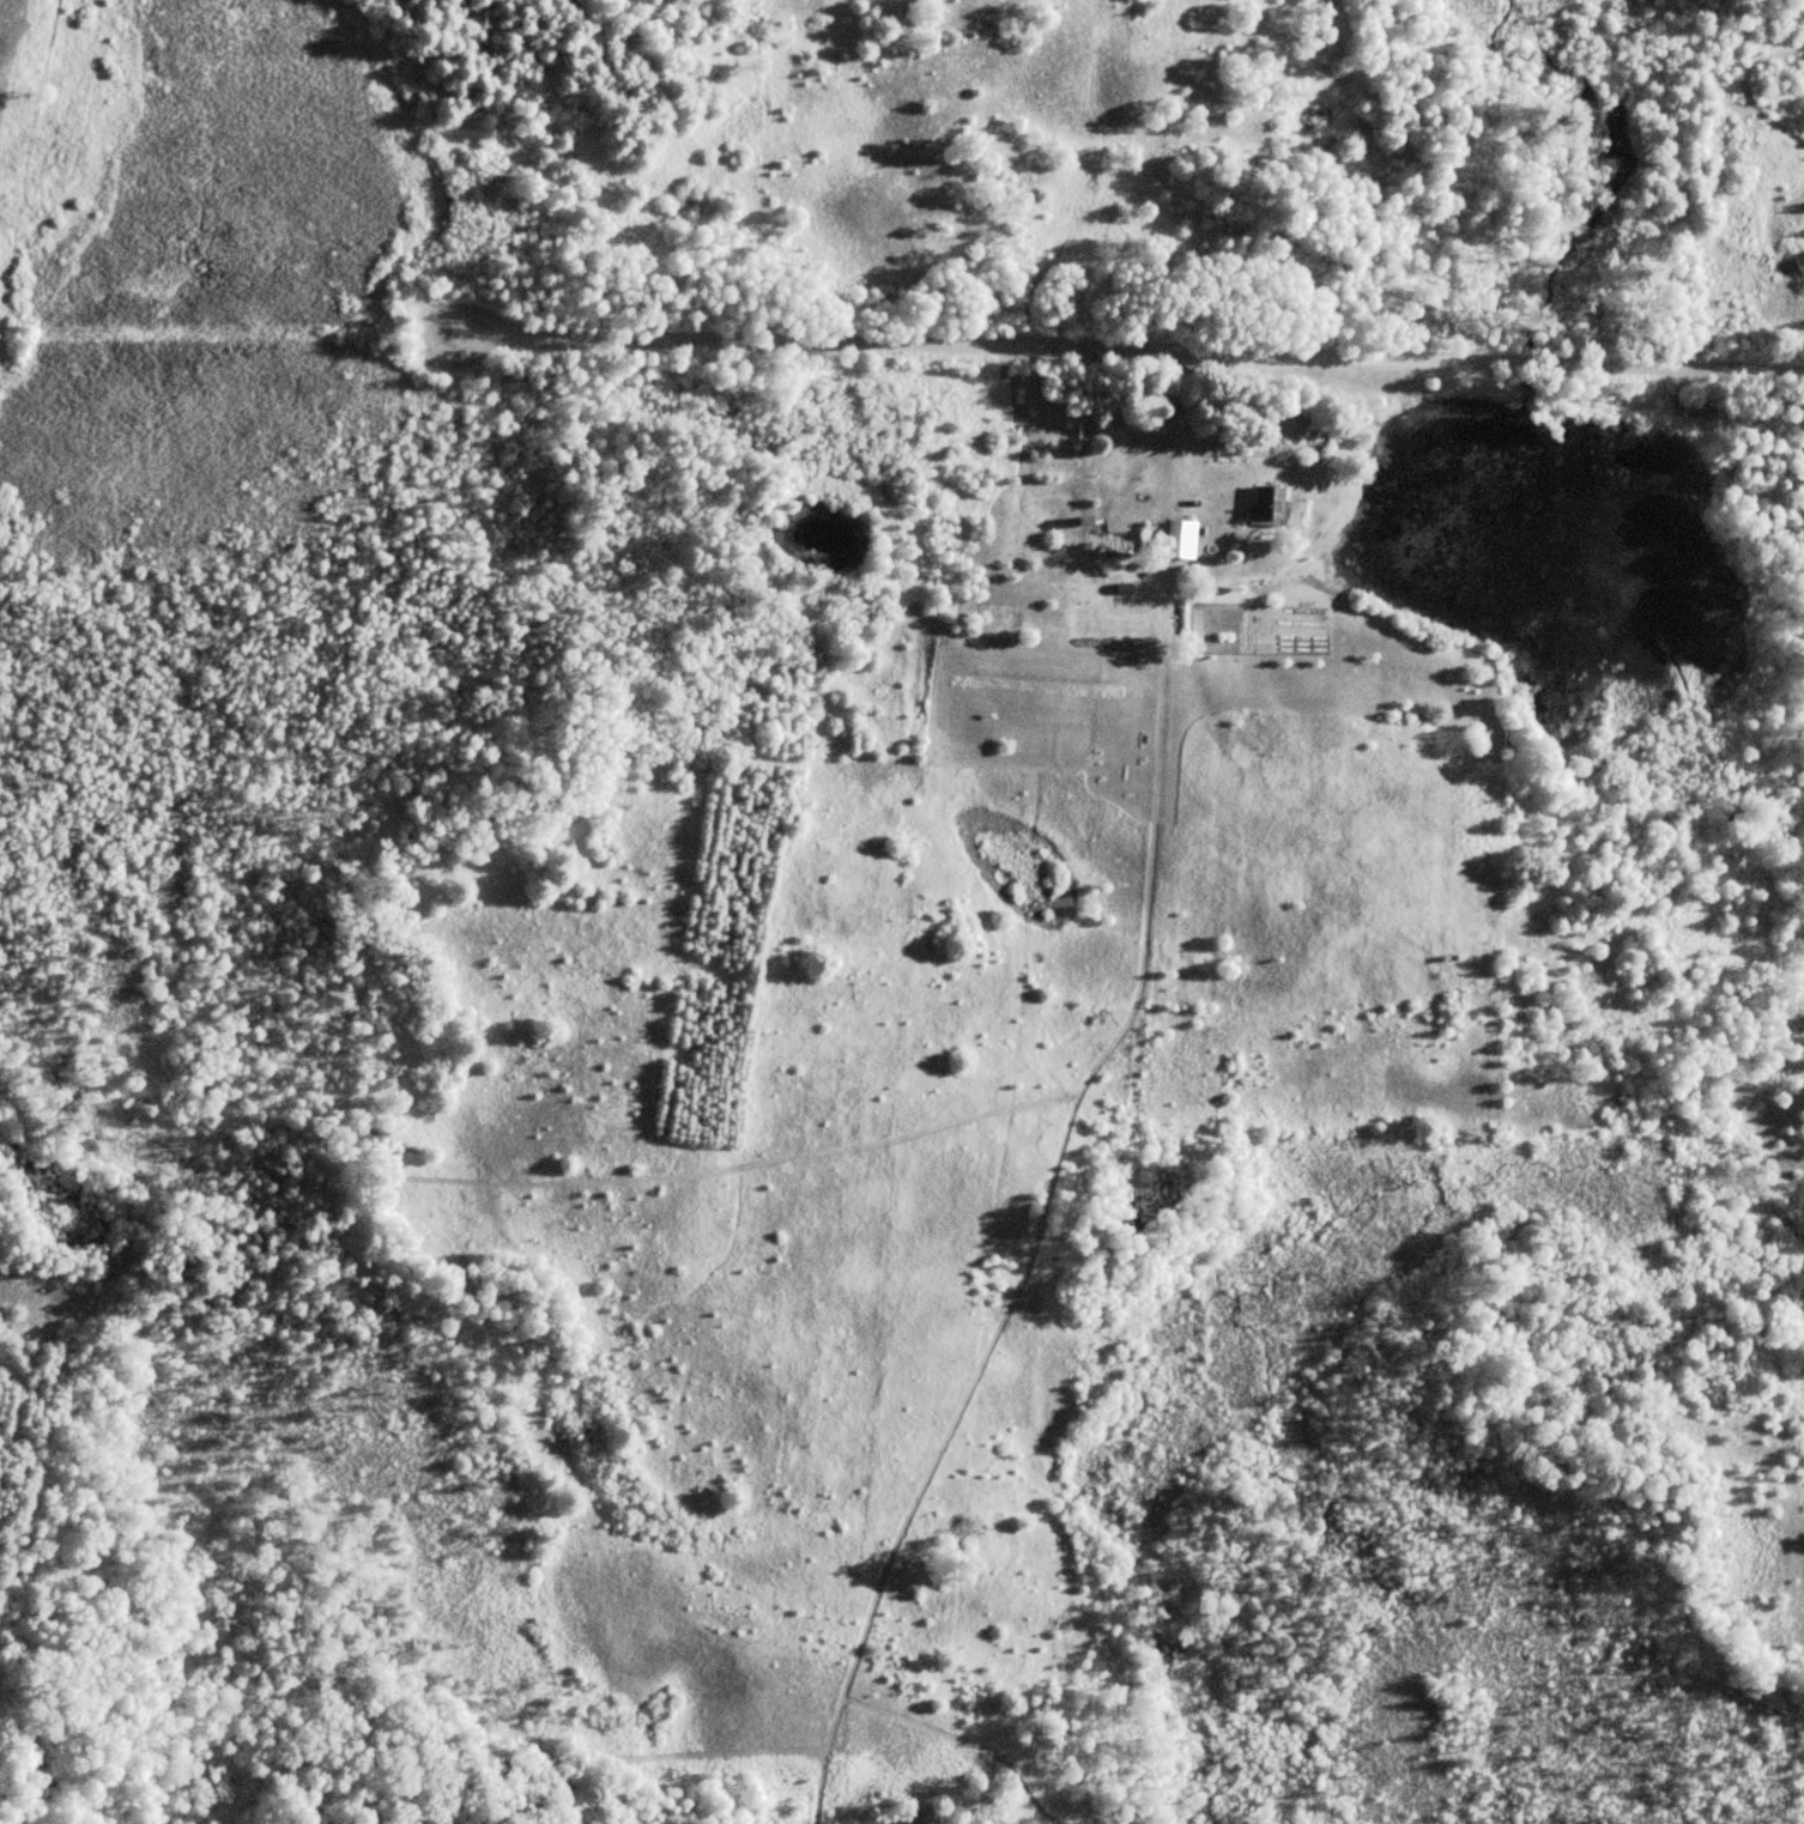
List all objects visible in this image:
building: (1799, 262)
road: (1136, 353)
building: (1269, 501)
building: (1182, 532)

